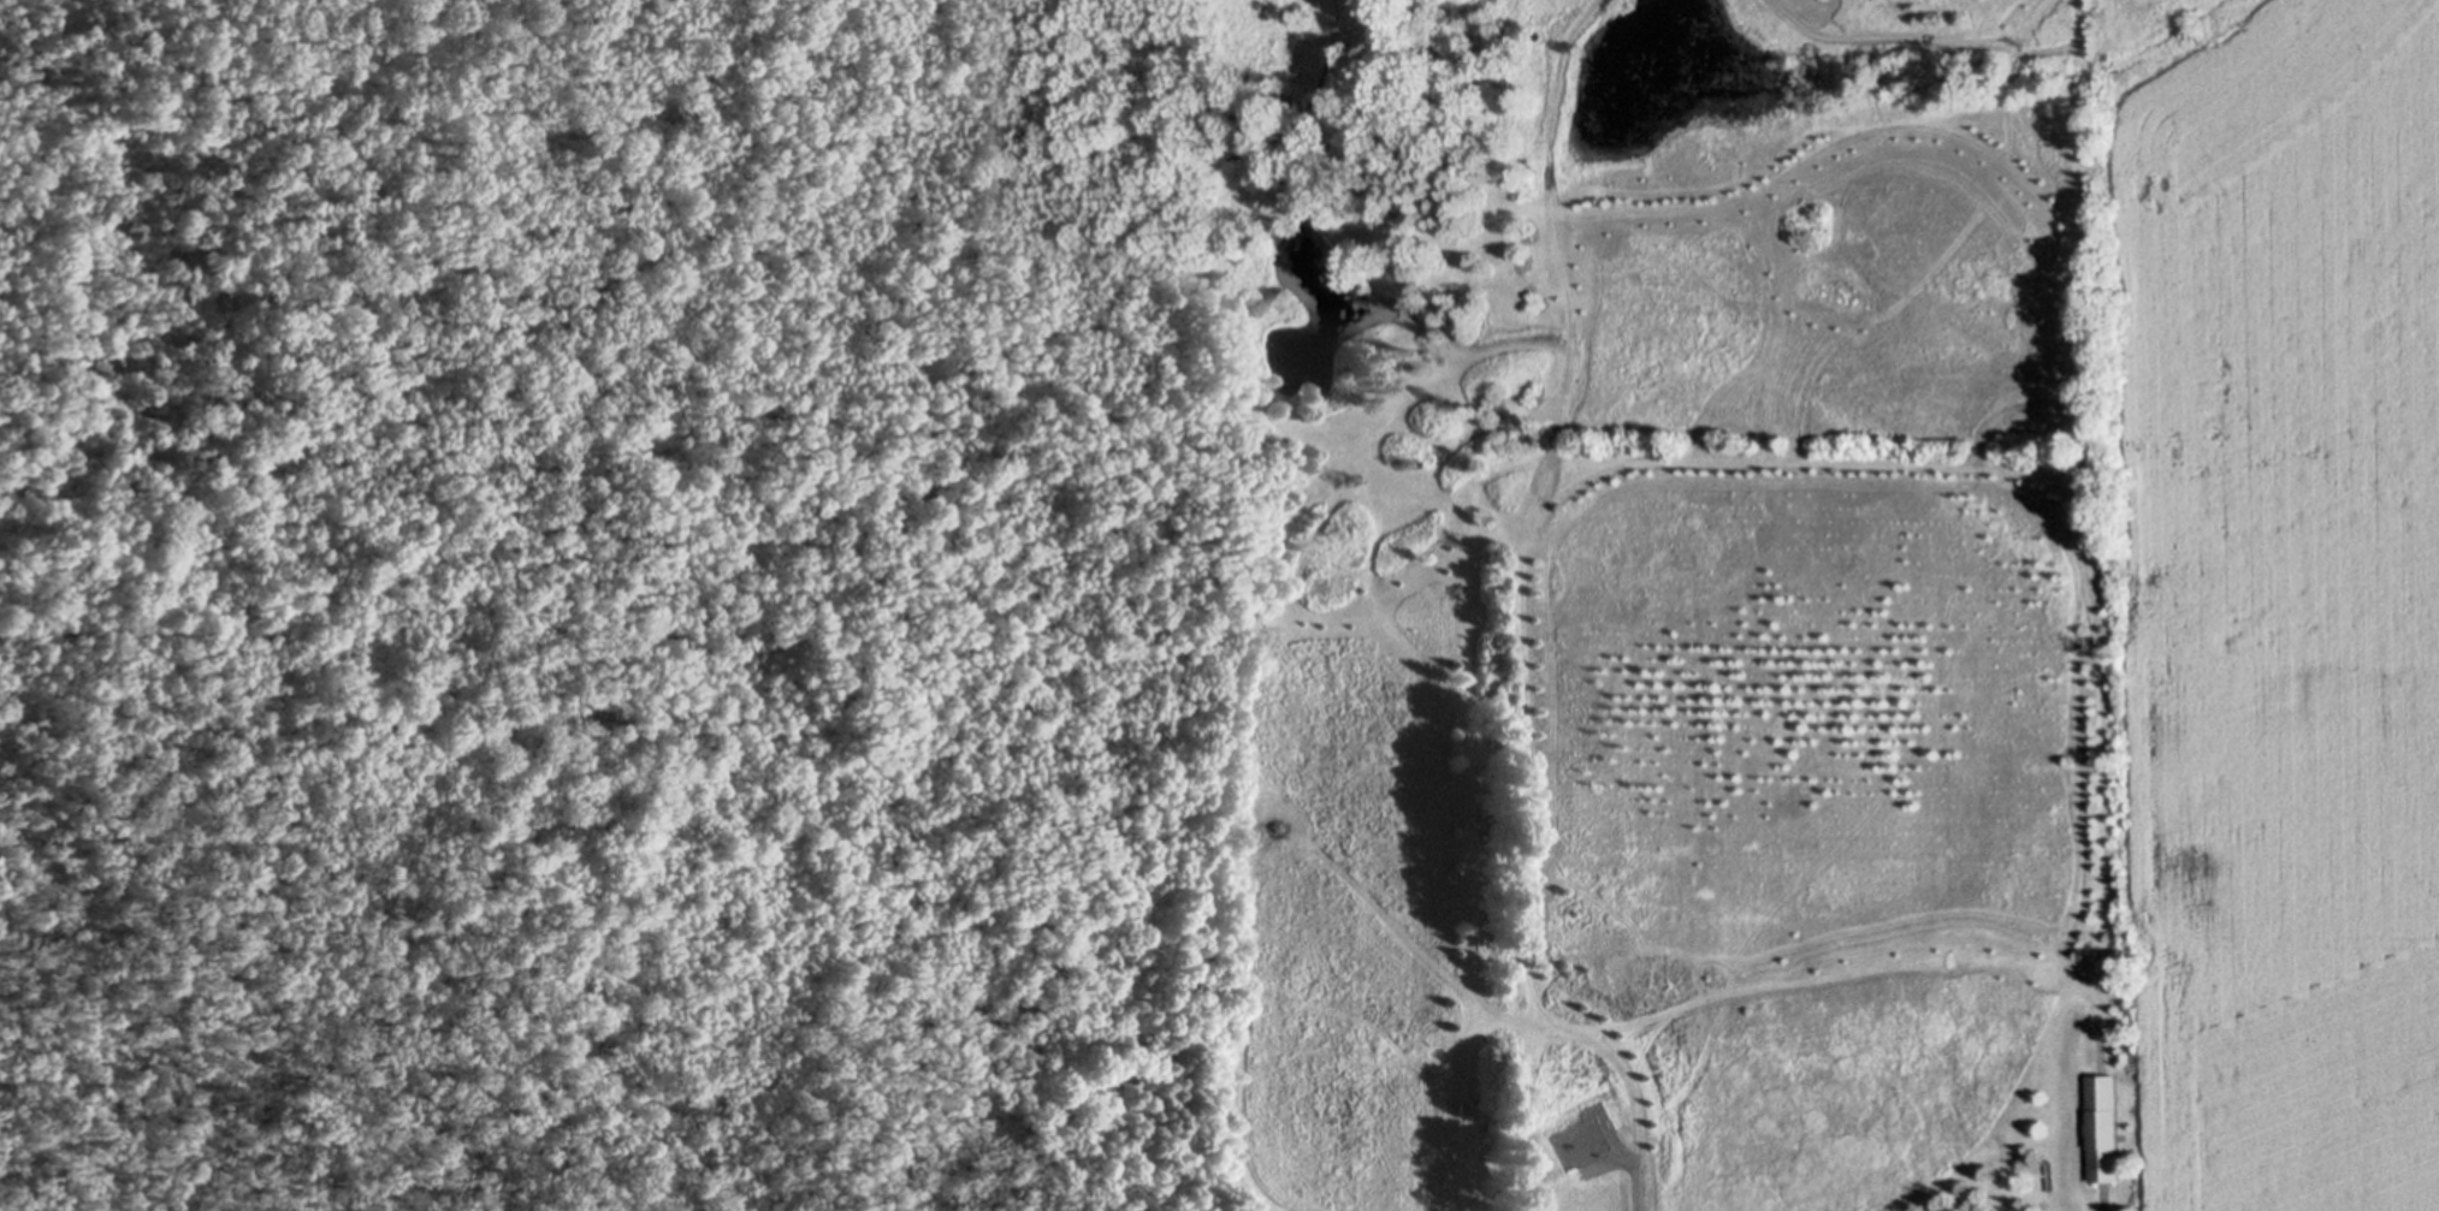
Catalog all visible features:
building: (2102, 1127)

